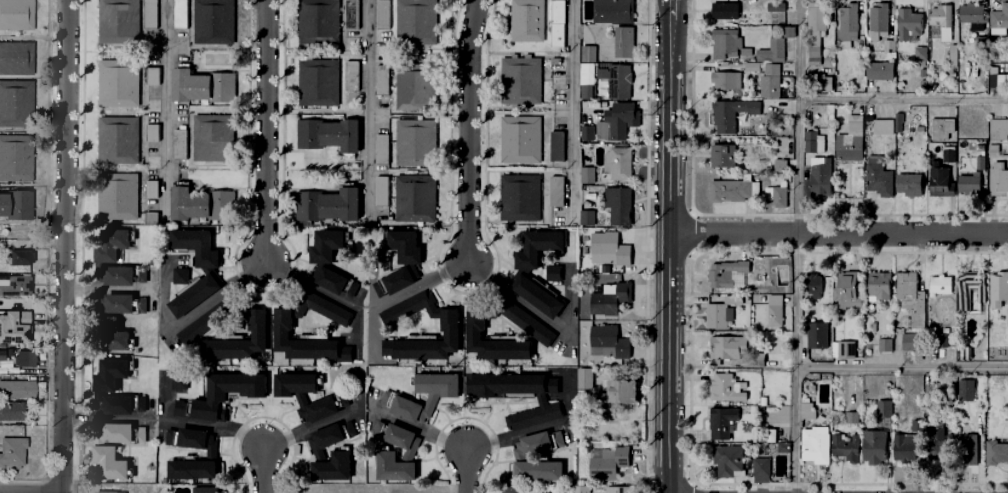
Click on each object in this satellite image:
building: (773, 6)
building: (722, 9)
building: (611, 12)
building: (969, 14)
building: (148, 15)
building: (179, 15)
building: (380, 16)
building: (16, 17)
building: (352, 17)
building: (998, 18)
building: (940, 19)
building: (316, 20)
building: (846, 20)
building: (114, 21)
building: (214, 21)
building: (416, 21)
building: (526, 21)
building: (816, 22)
building: (877, 22)
building: (905, 22)
building: (558, 23)
building: (623, 42)
building: (978, 42)
building: (726, 43)
building: (887, 44)
road: (797, 50)
building: (770, 51)
building: (588, 55)
building: (918, 55)
building: (813, 57)
building: (17, 58)
building: (554, 62)
building: (877, 70)
building: (149, 75)
building: (995, 75)
building: (351, 77)
building: (723, 79)
building: (382, 80)
building: (767, 80)
building: (521, 81)
building: (617, 81)
building: (318, 83)
building: (114, 84)
building: (824, 84)
building: (200, 87)
building: (413, 89)
building: (587, 92)
road: (164, 103)
building: (13, 104)
building: (149, 104)
road: (365, 107)
road: (571, 108)
building: (728, 113)
building: (829, 113)
building: (897, 120)
building: (621, 125)
building: (853, 126)
building: (882, 127)
road: (266, 129)
building: (940, 129)
building: (997, 129)
road: (467, 131)
building: (149, 132)
building: (586, 133)
building: (328, 136)
building: (211, 139)
building: (120, 141)
building: (522, 141)
building: (415, 142)
building: (810, 142)
building: (556, 146)
building: (978, 147)
building: (379, 148)
building: (848, 149)
building: (993, 151)
building: (949, 152)
building: (720, 154)
building: (15, 158)
building: (148, 161)
building: (981, 162)
building: (620, 164)
building: (777, 164)
building: (588, 175)
building: (820, 175)
building: (877, 176)
building: (938, 181)
building: (998, 183)
building: (908, 185)
building: (963, 185)
building: (151, 190)
building: (378, 191)
building: (556, 191)
building: (729, 191)
road: (797, 192)
building: (775, 195)
building: (114, 196)
building: (518, 197)
building: (414, 199)
building: (14, 205)
building: (198, 205)
building: (327, 206)
building: (618, 206)
building: (148, 217)
building: (587, 219)
road: (838, 235)
building: (602, 242)
road: (63, 246)
building: (326, 246)
building: (404, 246)
road: (668, 246)
building: (197, 247)
building: (537, 249)
building: (622, 254)
building: (20, 255)
building: (114, 259)
building: (783, 260)
road: (480, 272)
building: (553, 273)
building: (724, 274)
building: (181, 277)
building: (337, 283)
building: (393, 283)
building: (813, 286)
building: (16, 287)
building: (878, 287)
building: (941, 287)
building: (998, 289)
building: (845, 292)
road: (327, 293)
building: (195, 297)
building: (964, 297)
building: (537, 298)
building: (910, 298)
building: (608, 299)
building: (733, 300)
building: (118, 303)
building: (142, 305)
building: (774, 312)
road: (191, 314)
building: (713, 317)
building: (208, 320)
building: (526, 322)
building: (449, 324)
building: (283, 325)
building: (14, 327)
building: (114, 336)
building: (816, 336)
building: (238, 341)
building: (943, 341)
building: (493, 342)
building: (607, 343)
building: (885, 346)
building: (912, 346)
building: (727, 350)
building: (844, 351)
building: (963, 354)
building: (2, 356)
building: (814, 357)
building: (24, 358)
building: (756, 362)
road: (902, 368)
building: (583, 378)
building: (108, 380)
building: (178, 382)
building: (438, 385)
building: (726, 389)
building: (17, 390)
building: (941, 391)
building: (965, 391)
building: (623, 392)
building: (927, 394)
building: (221, 396)
building: (519, 396)
building: (327, 402)
building: (763, 402)
building: (139, 403)
building: (118, 405)
building: (855, 405)
building: (404, 408)
building: (883, 410)
building: (11, 411)
building: (807, 411)
building: (851, 418)
road: (194, 423)
building: (722, 423)
building: (915, 424)
road: (417, 430)
road: (534, 430)
building: (116, 434)
building: (760, 436)
building: (394, 437)
building: (772, 437)
building: (330, 438)
building: (190, 440)
building: (557, 440)
building: (933, 440)
building: (533, 444)
building: (815, 445)
building: (874, 448)
building: (846, 449)
building: (903, 449)
building: (14, 450)
building: (781, 450)
building: (967, 451)
building: (996, 451)
building: (727, 461)
building: (109, 464)
building: (608, 464)
building: (333, 468)
building: (394, 469)
building: (193, 470)
building: (760, 470)
road: (261, 471)
road: (463, 471)
building: (538, 471)
building: (579, 489)
road: (161, 490)
building: (201, 490)
building: (510, 490)
building: (617, 490)
building: (109, 492)
road: (565, 492)

